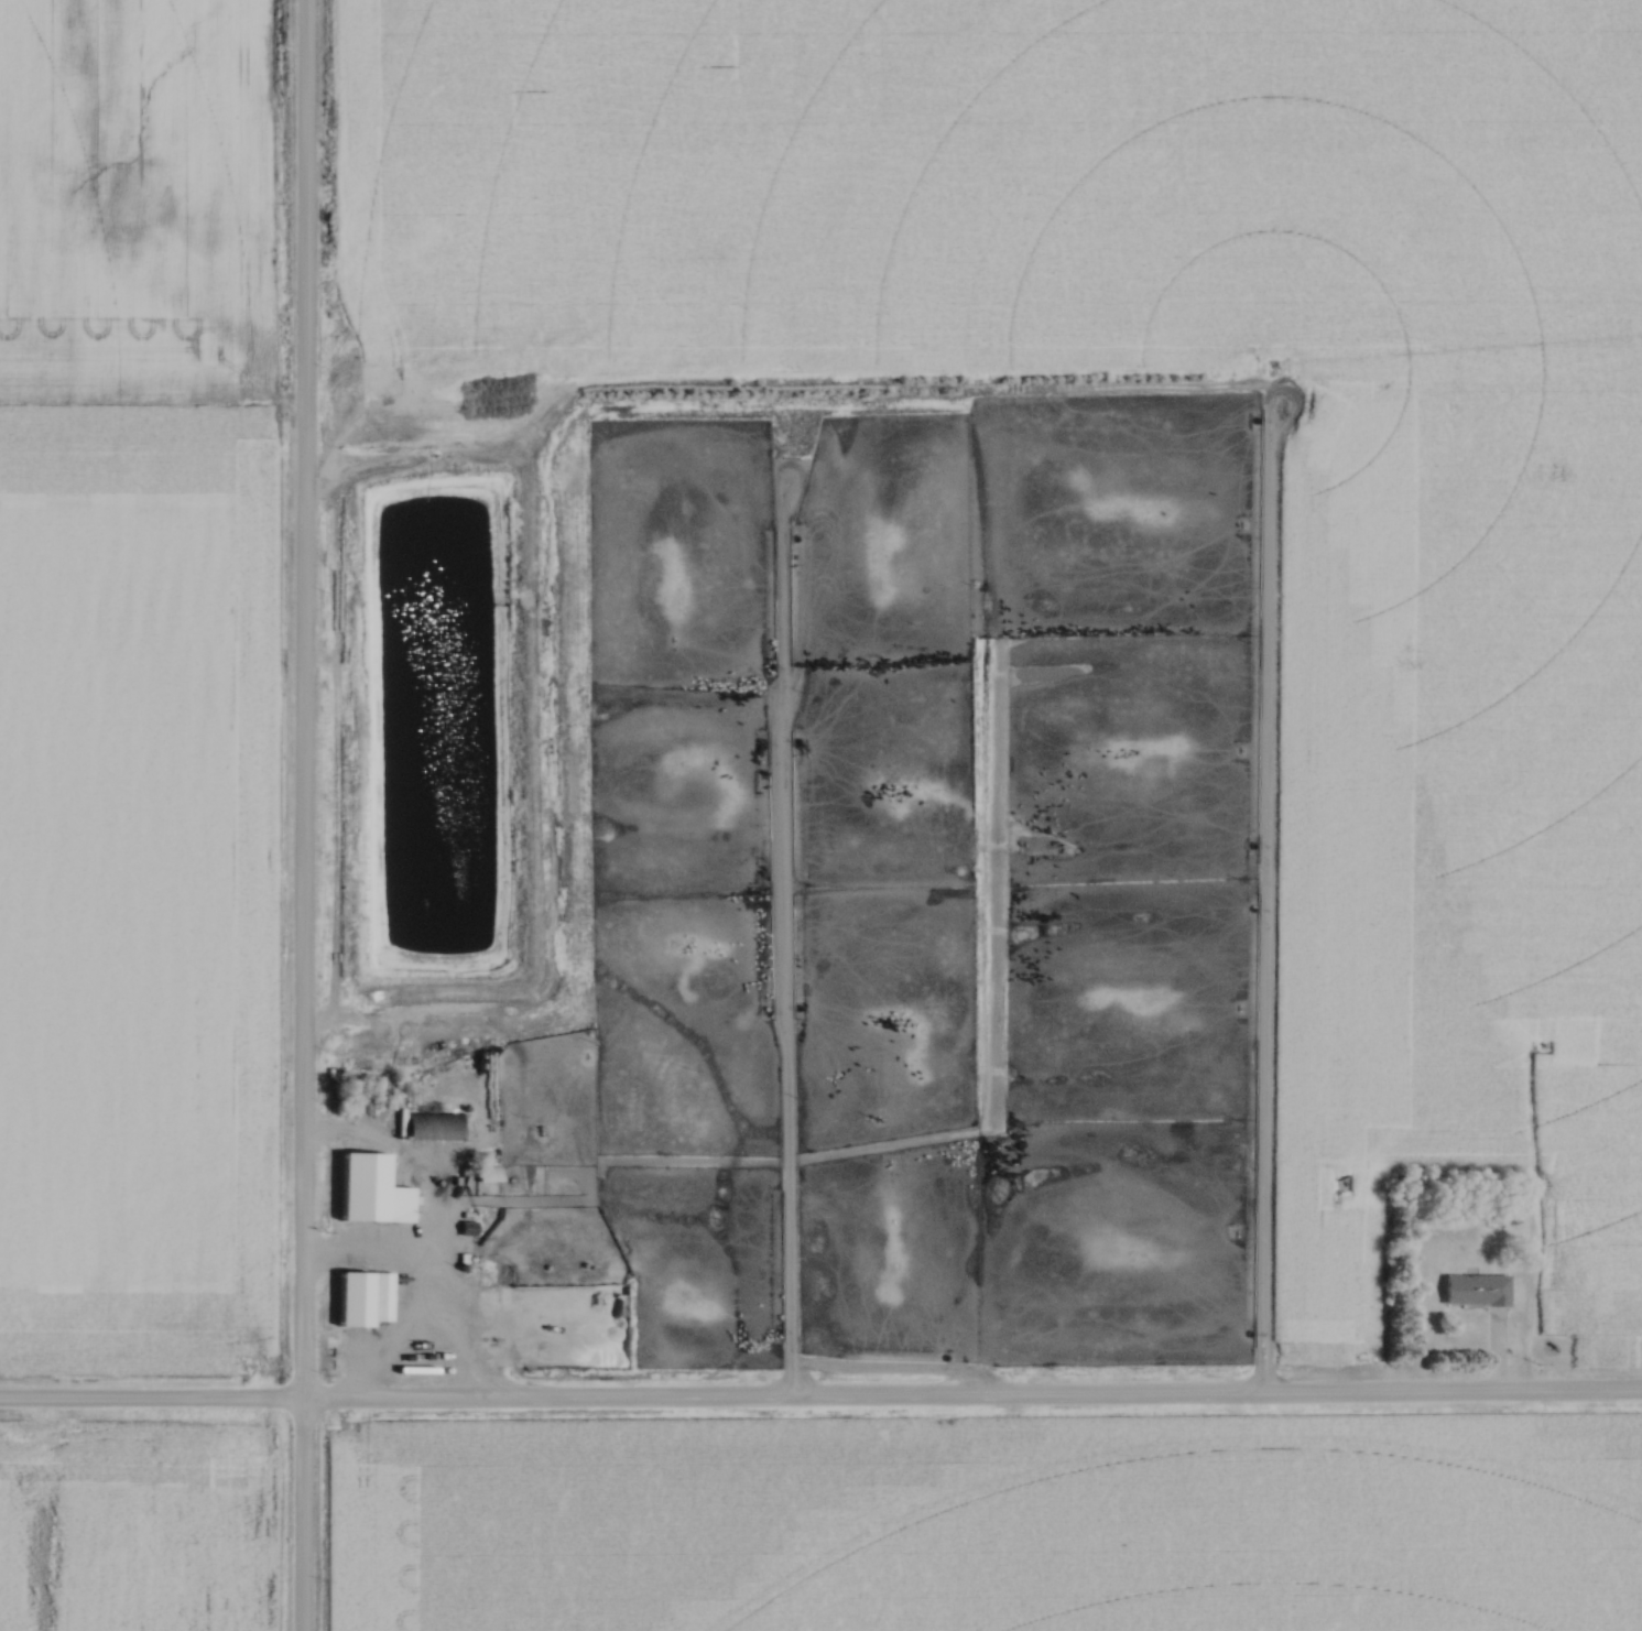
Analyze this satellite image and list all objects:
road: (302, 815)
building: (433, 1126)
building: (465, 1230)
road: (429, 1279)
building: (1475, 1291)
building: (362, 1300)
road: (820, 1403)

